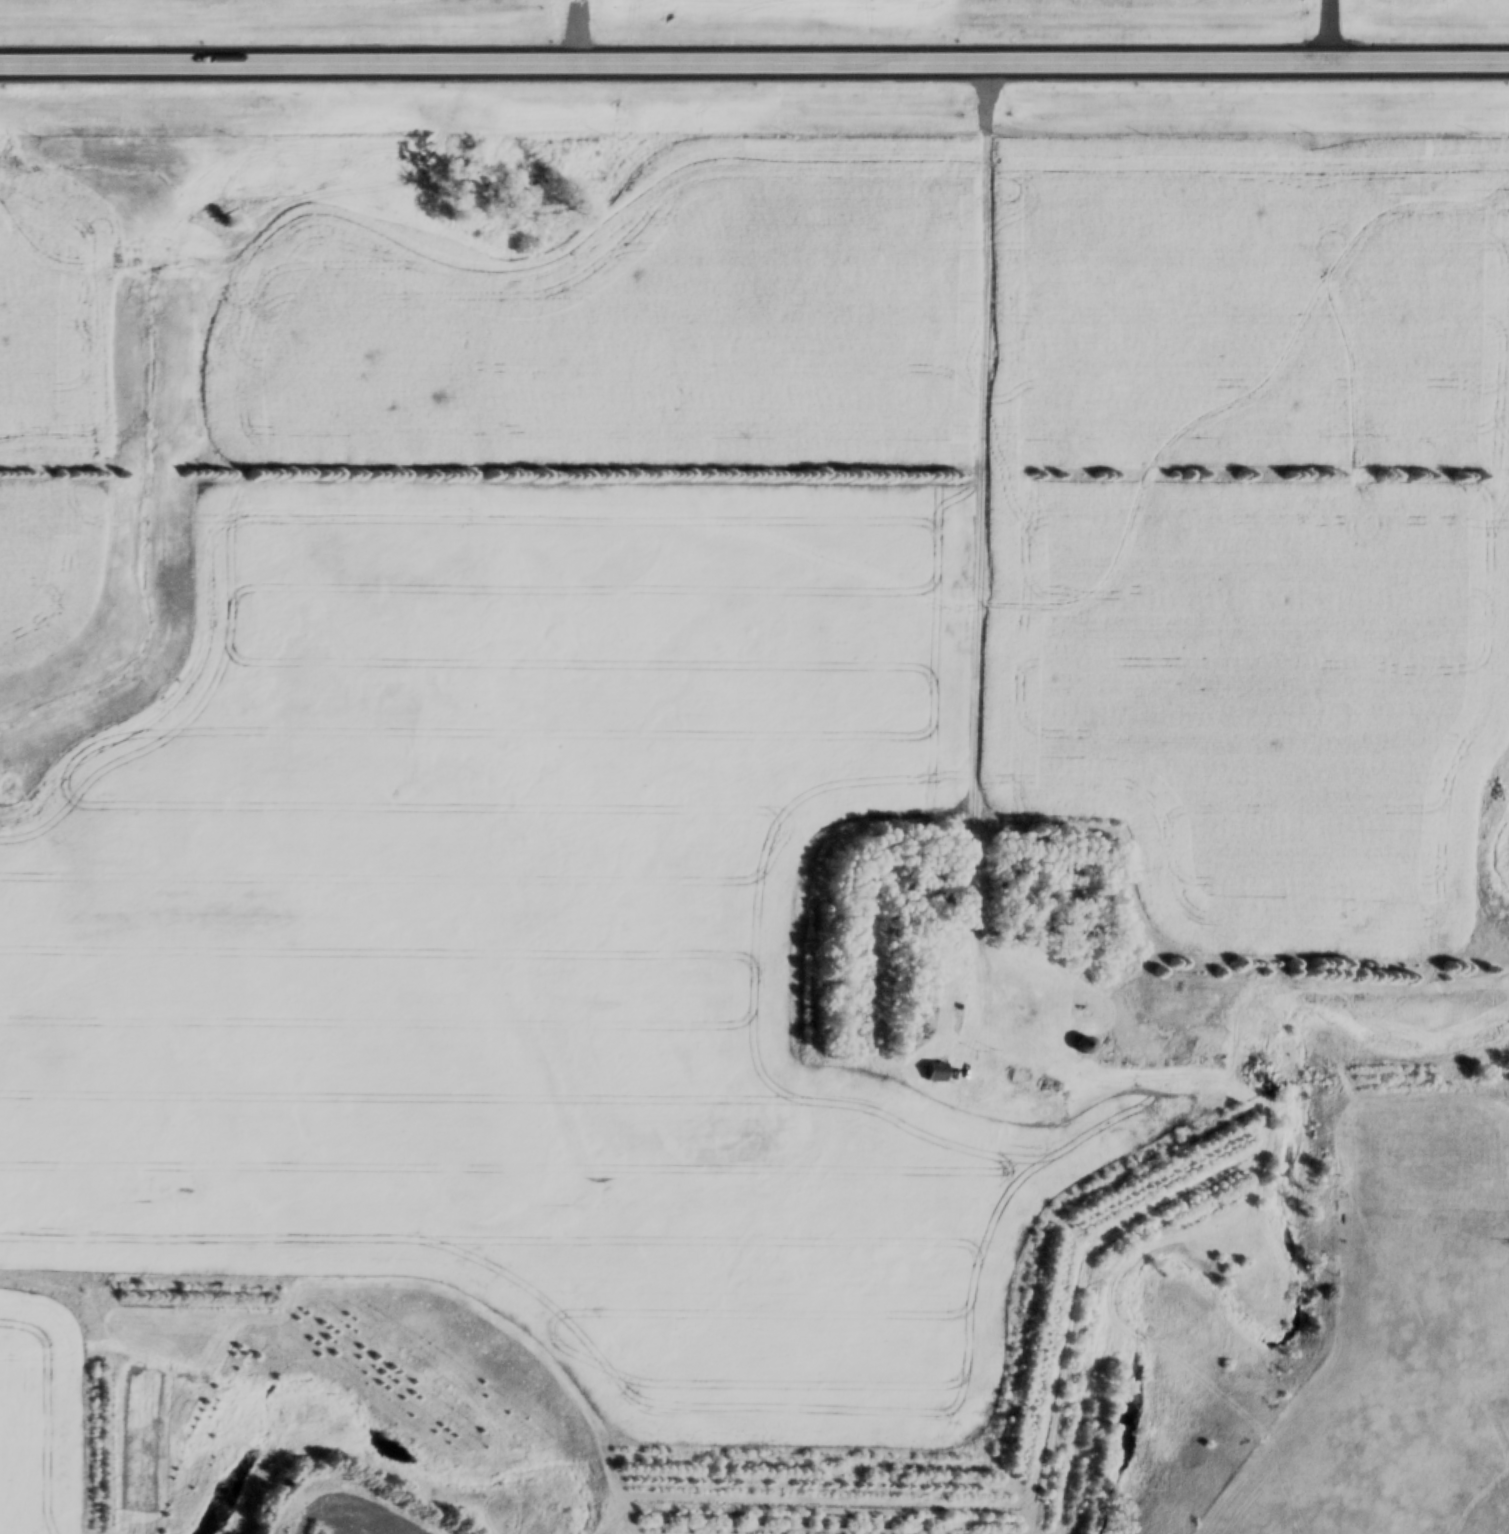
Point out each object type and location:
road: (1332, 30)
road: (754, 59)
building: (1505, 62)
building: (1134, 63)
building: (1330, 63)
road: (969, 572)
building: (1082, 1045)
building: (933, 1077)
building: (1045, 1099)

